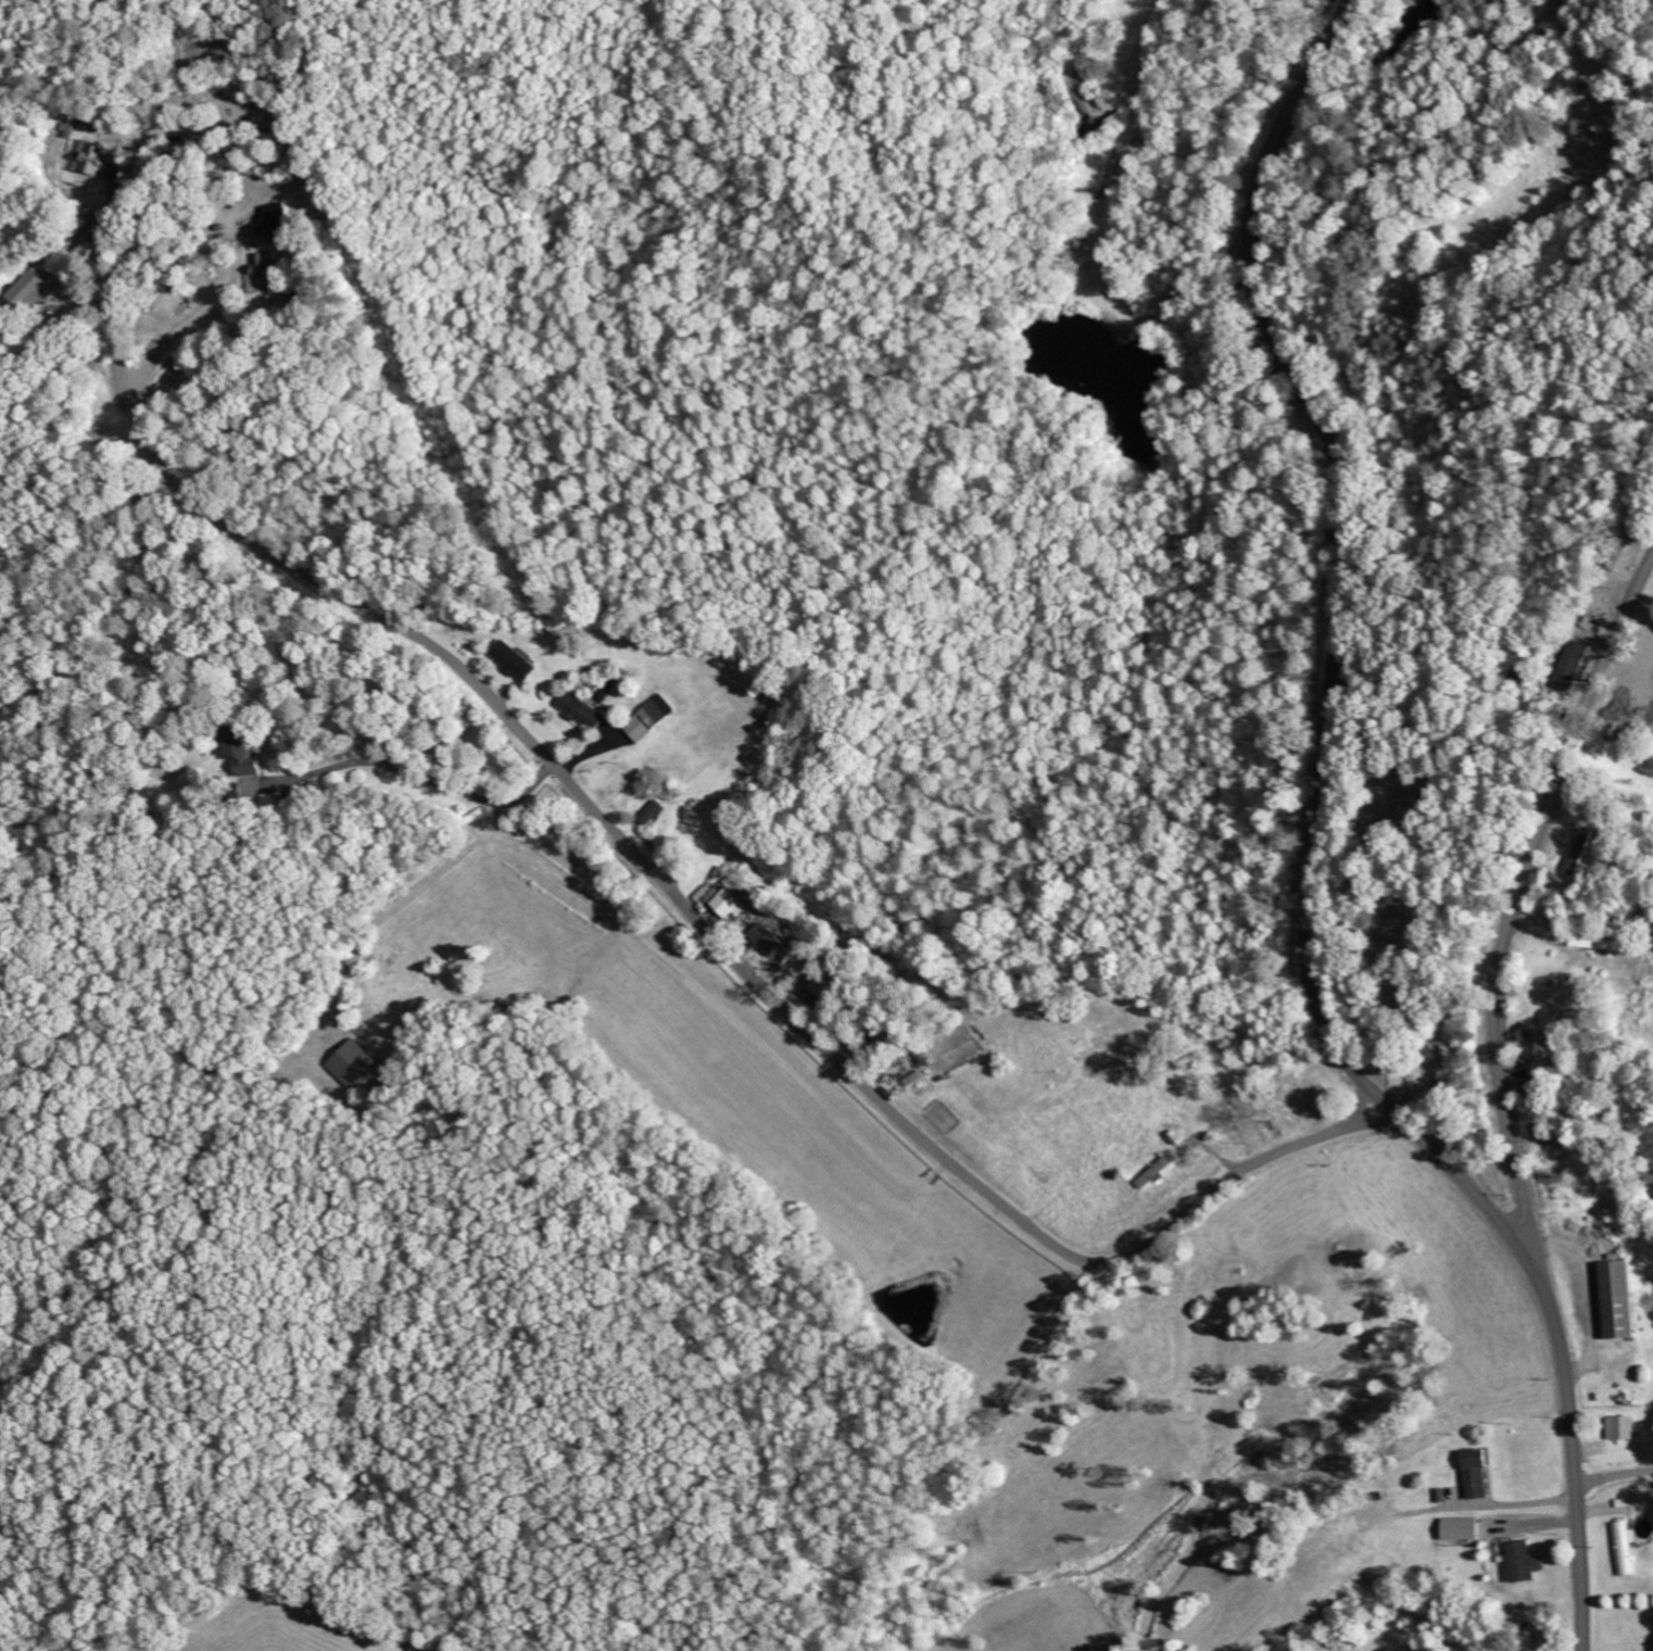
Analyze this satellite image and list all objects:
building: (93, 159)
building: (279, 219)
building: (251, 237)
building: (264, 273)
building: (30, 290)
building: (515, 660)
building: (1578, 665)
building: (582, 710)
building: (652, 717)
building: (245, 751)
building: (652, 812)
road: (1317, 845)
building: (1590, 849)
road: (653, 870)
building: (732, 903)
road: (1510, 922)
building: (769, 938)
building: (1597, 943)
building: (353, 1063)
building: (1159, 1171)
building: (1623, 1300)
building: (1624, 1427)
building: (1479, 1474)
road: (1615, 1477)
building: (1465, 1528)
building: (1626, 1548)
building: (1525, 1562)

